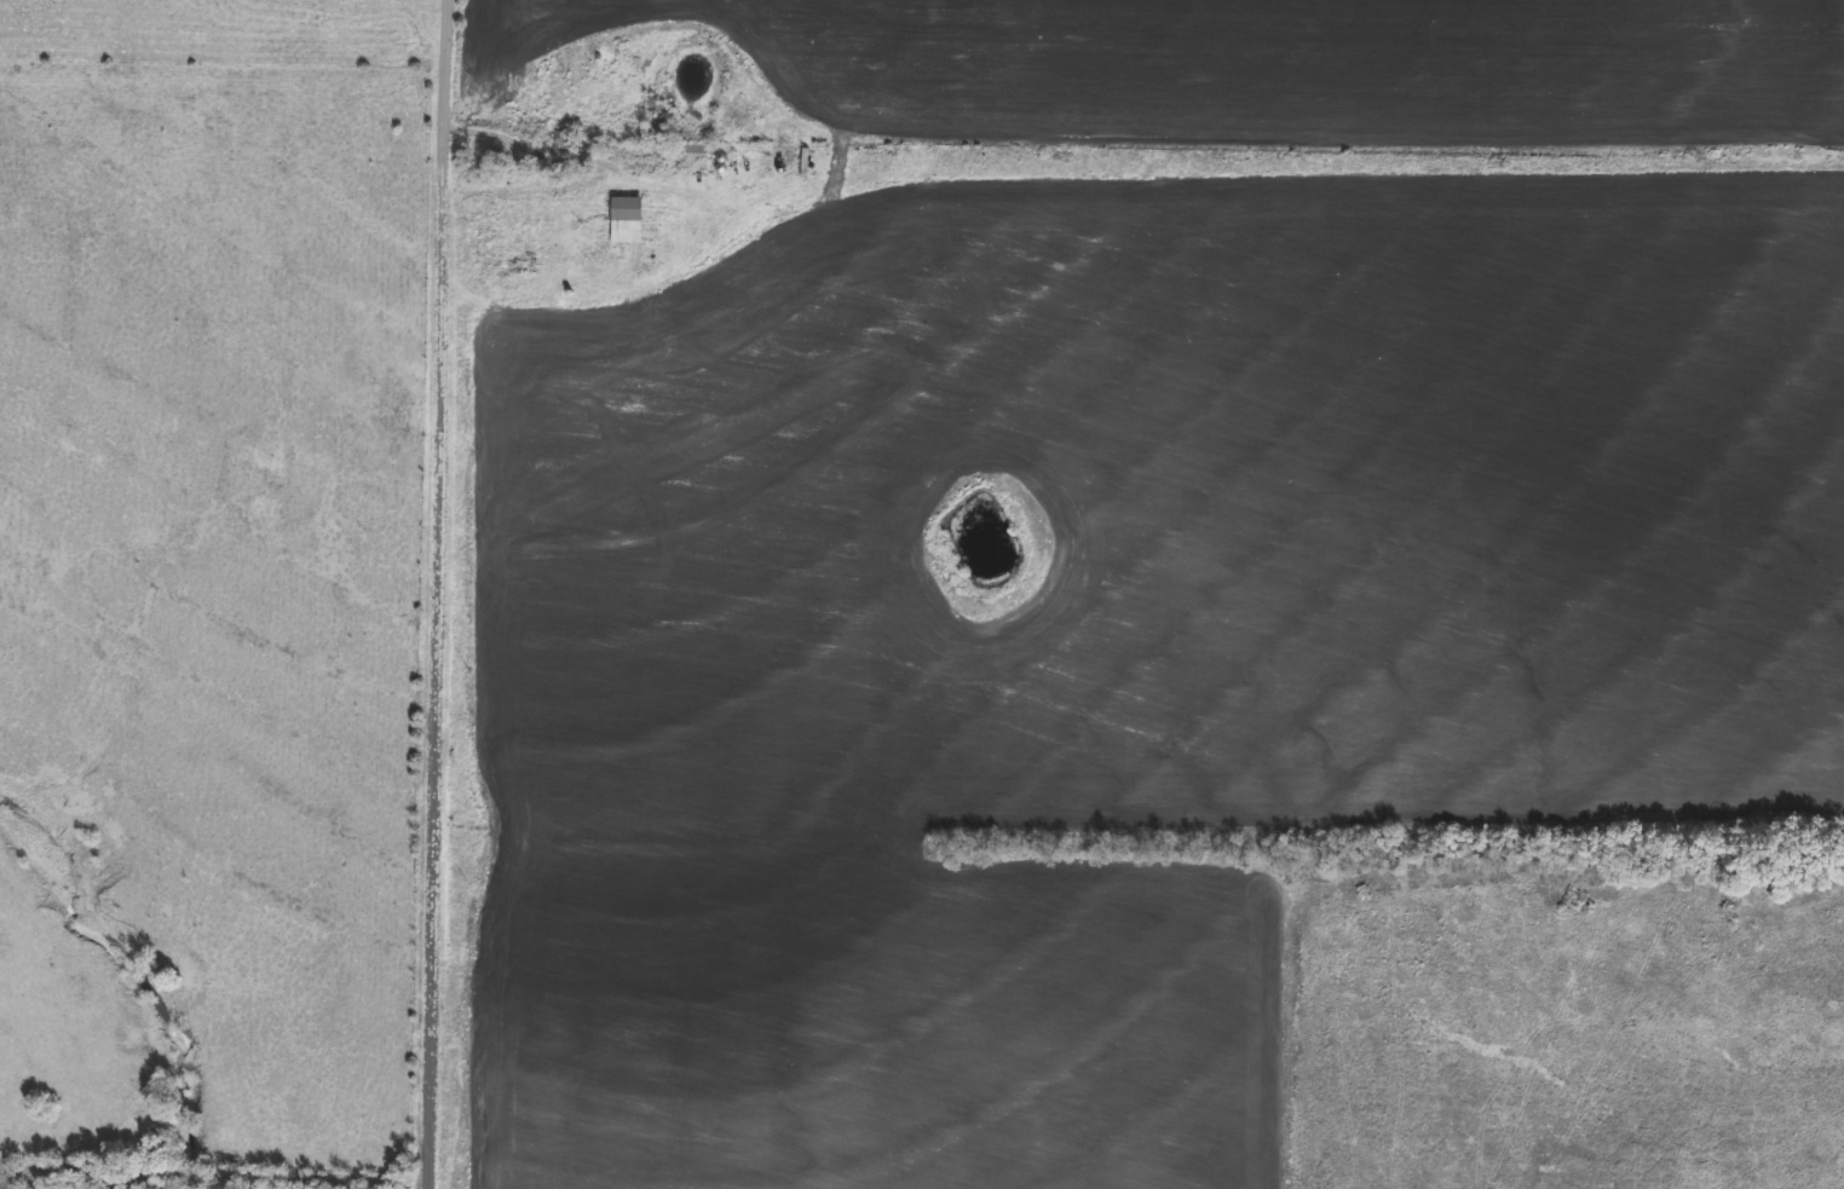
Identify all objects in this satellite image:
building: (659, 106)
building: (697, 150)
building: (627, 210)
road: (440, 594)

